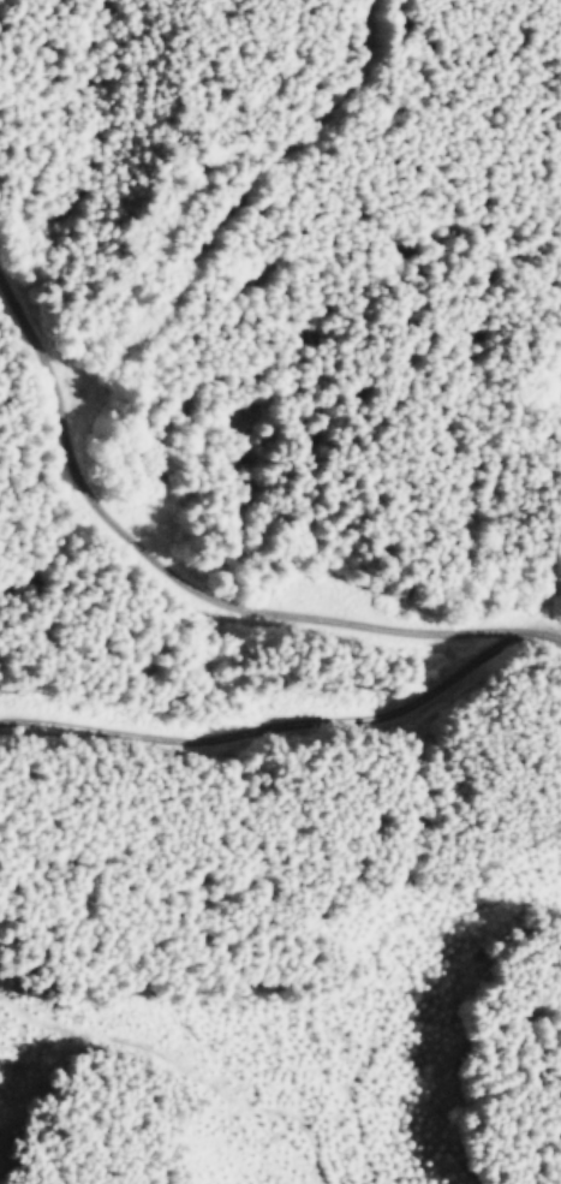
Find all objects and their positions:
road: (237, 212)
road: (165, 566)
road: (544, 635)
road: (275, 730)

